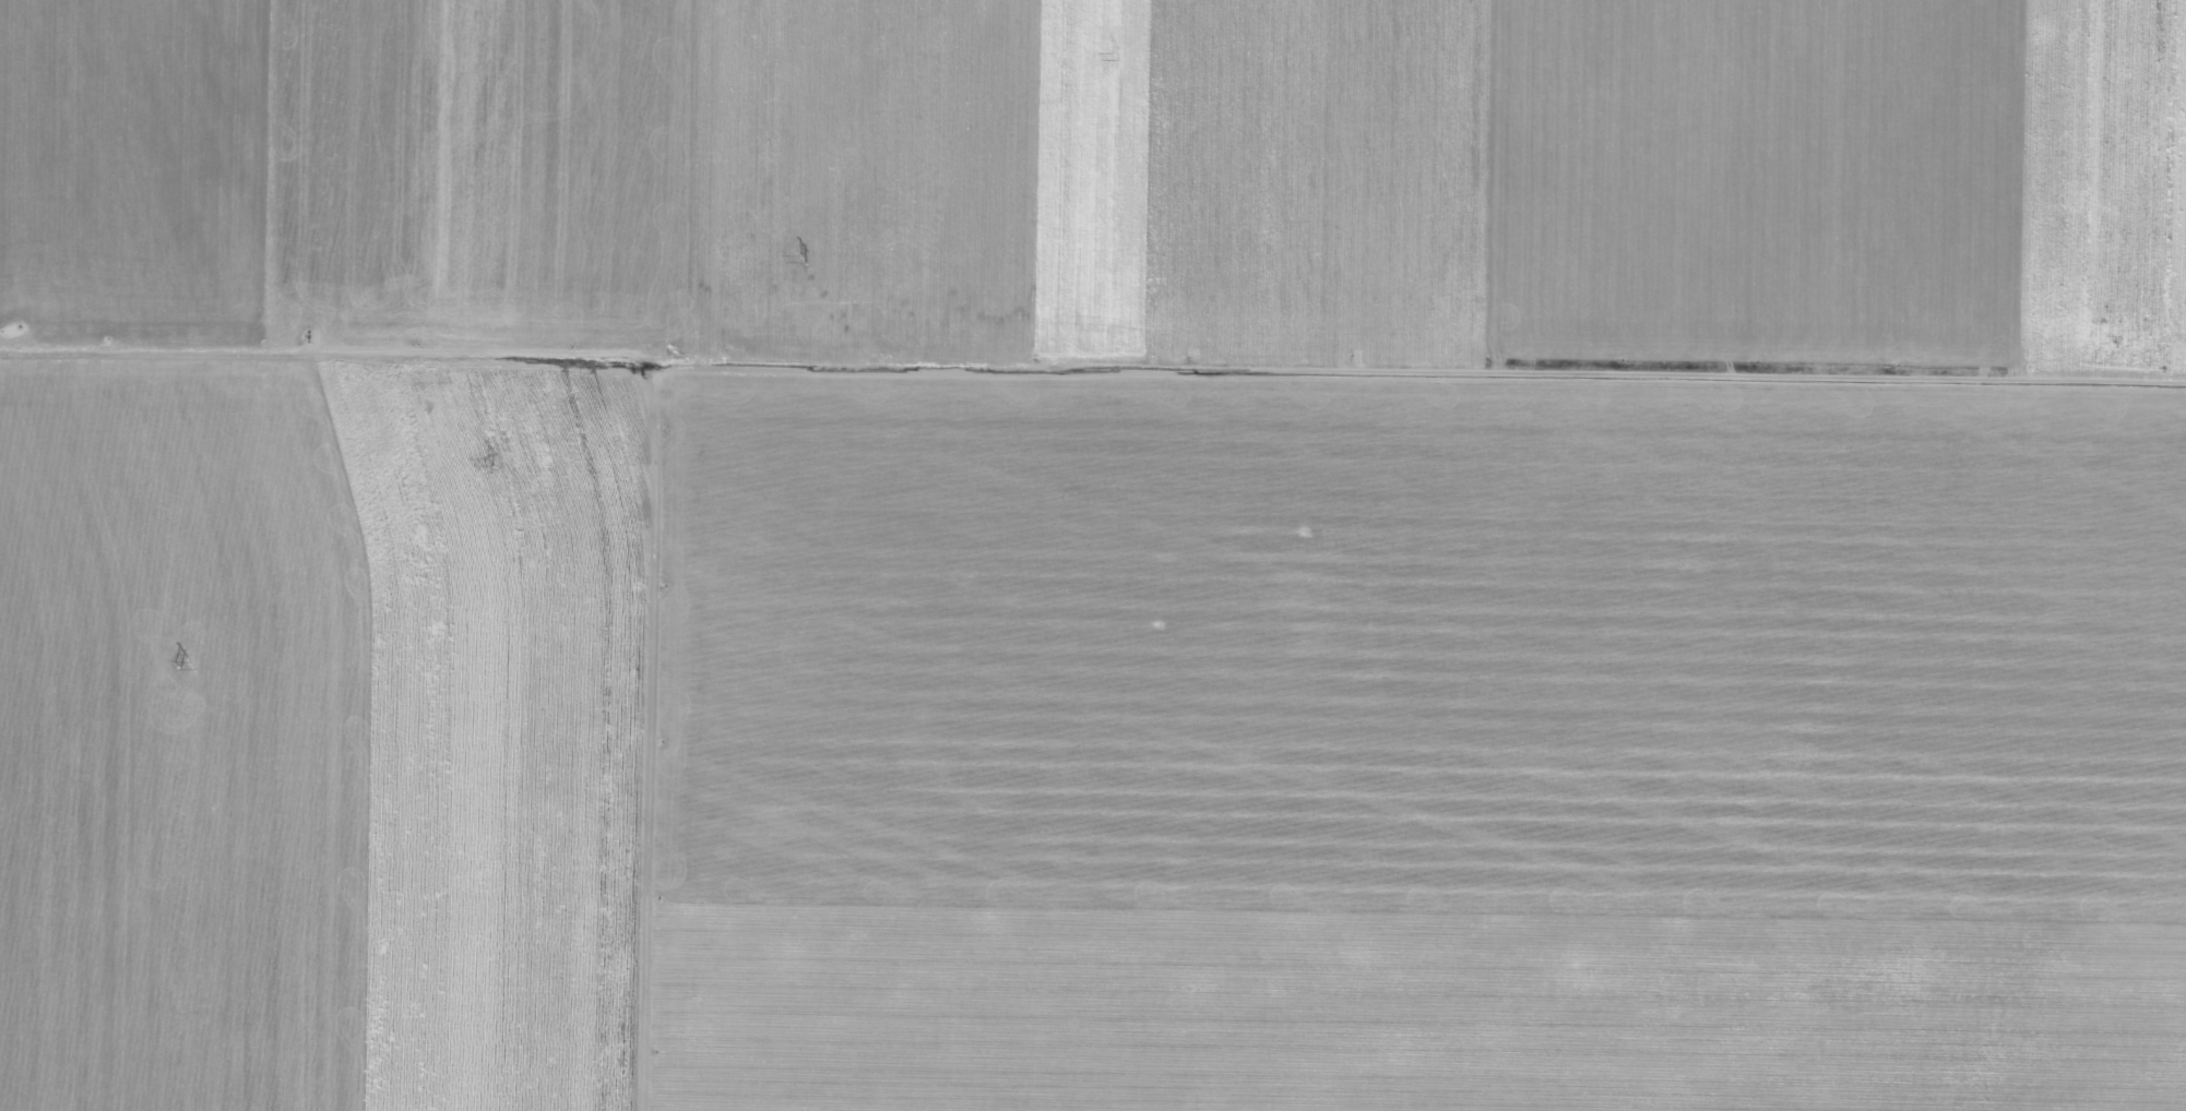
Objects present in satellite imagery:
power tower: (1115, 52)
power tower: (807, 253)
power tower: (492, 457)
power tower: (176, 664)

